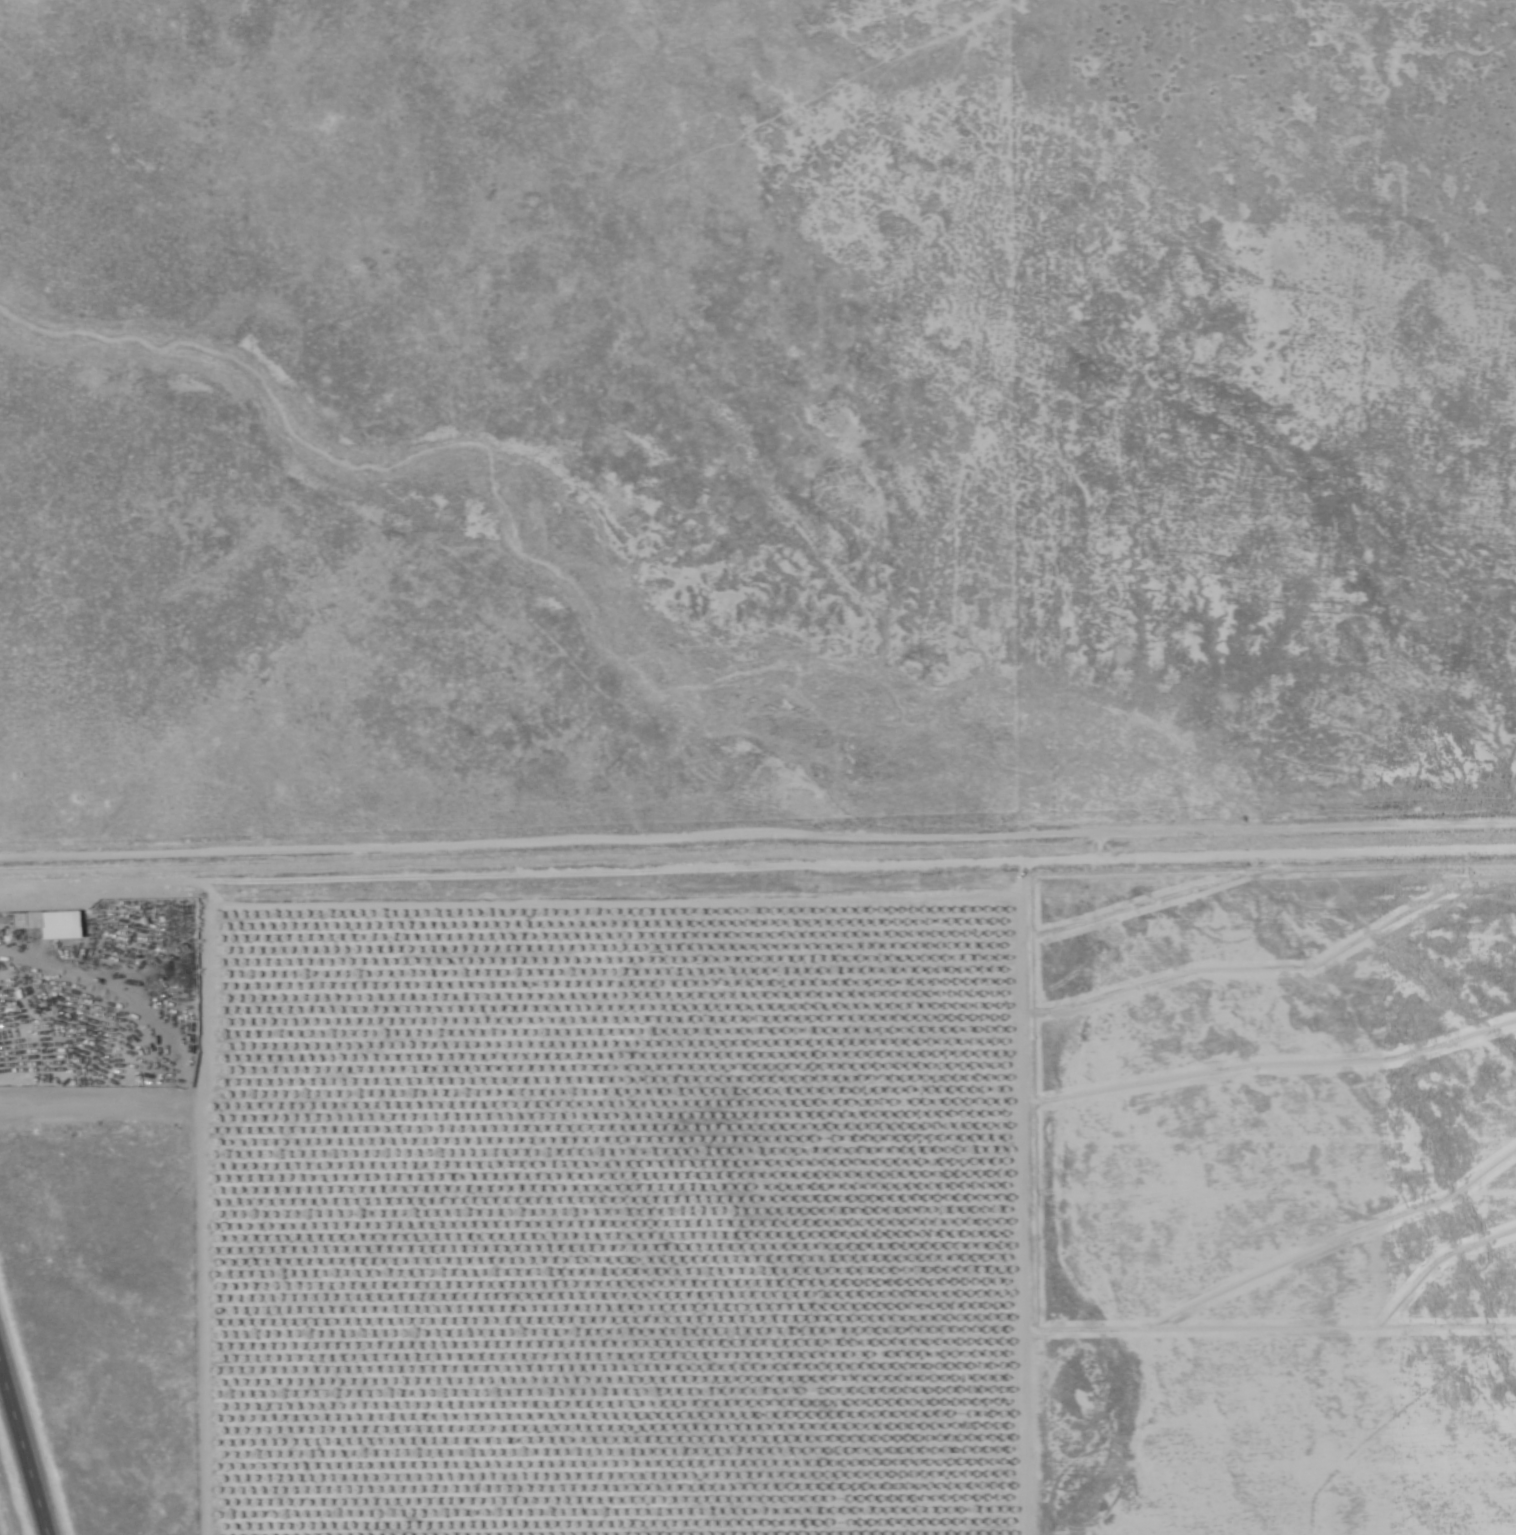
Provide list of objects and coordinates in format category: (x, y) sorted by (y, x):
crop: (616, 1211)
road: (24, 1444)

